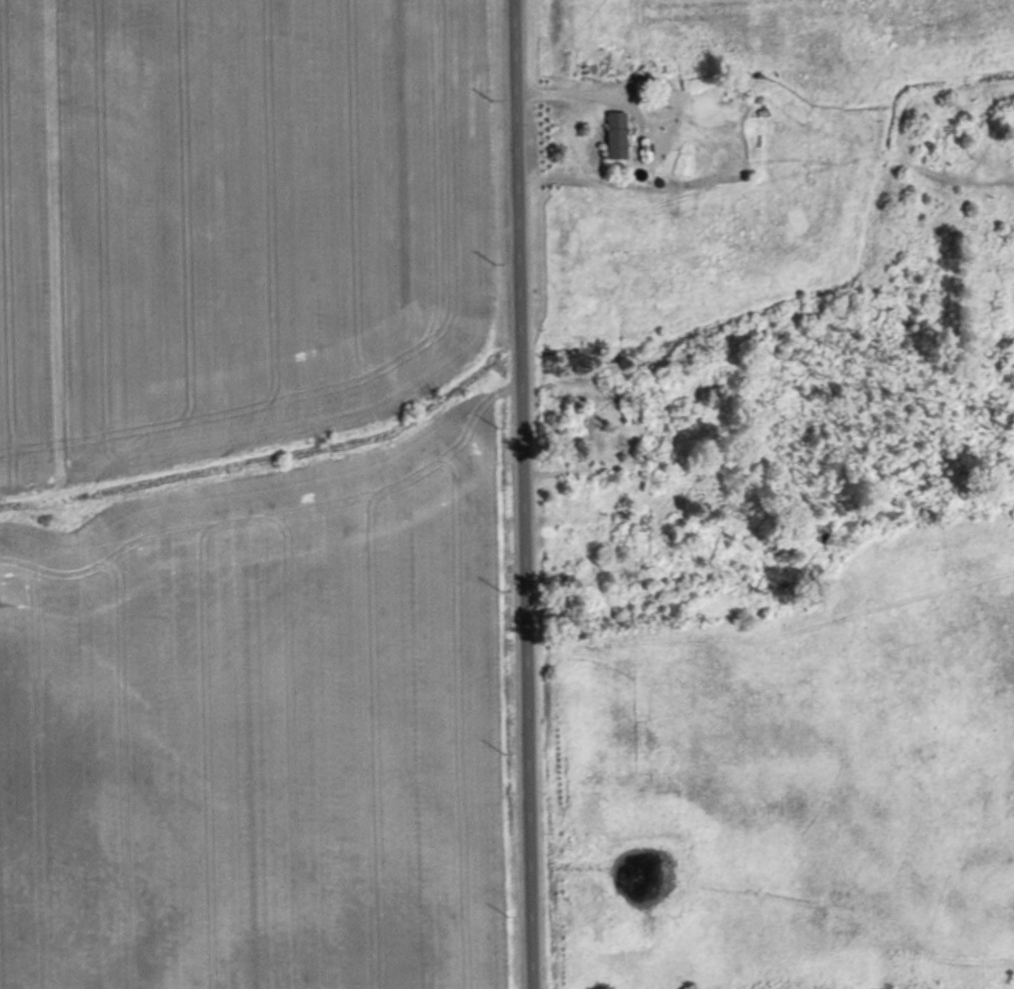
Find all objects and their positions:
building: (616, 134)
road: (520, 494)

